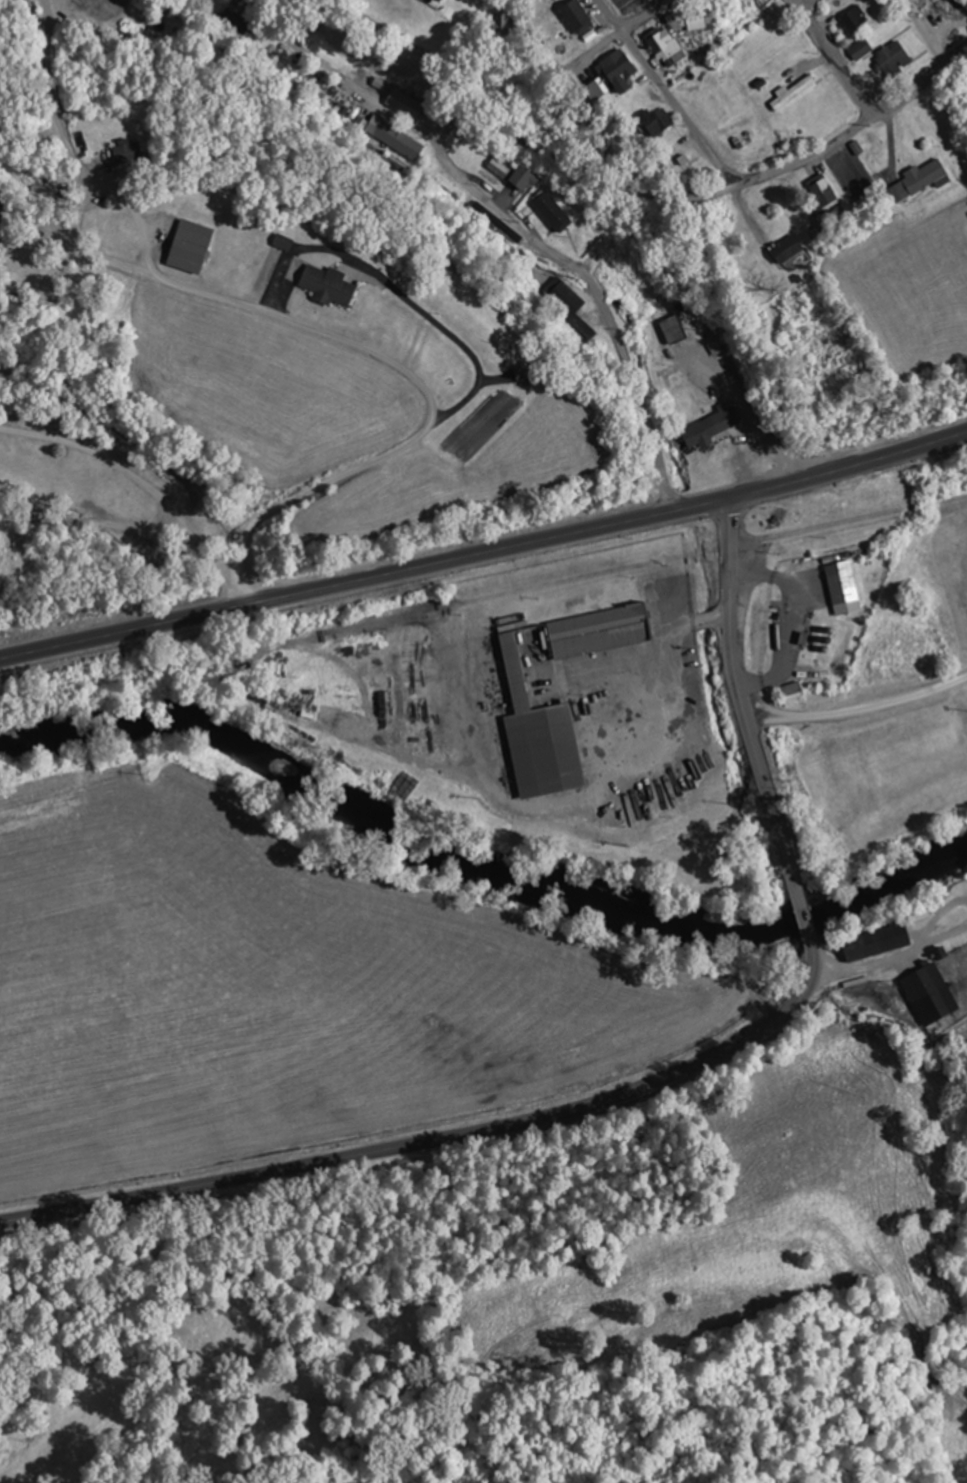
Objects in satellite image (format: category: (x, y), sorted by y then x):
building: (623, 1)
road: (647, 16)
building: (572, 17)
building: (852, 19)
building: (497, 26)
building: (661, 47)
building: (858, 50)
road: (835, 57)
building: (889, 59)
building: (604, 78)
road: (666, 93)
building: (402, 103)
building: (650, 123)
road: (497, 133)
building: (397, 140)
building: (136, 153)
building: (496, 169)
building: (518, 181)
building: (915, 181)
building: (819, 194)
building: (549, 212)
building: (200, 249)
building: (782, 250)
building: (617, 269)
building: (328, 288)
building: (567, 306)
building: (669, 330)
road: (440, 406)
building: (702, 451)
road: (145, 469)
road: (485, 553)
building: (840, 588)
building: (607, 631)
building: (788, 695)
road: (741, 697)
road: (858, 709)
building: (546, 734)
river: (480, 866)
building: (913, 915)
road: (804, 917)
building: (870, 943)
building: (920, 983)
road: (439, 1140)

